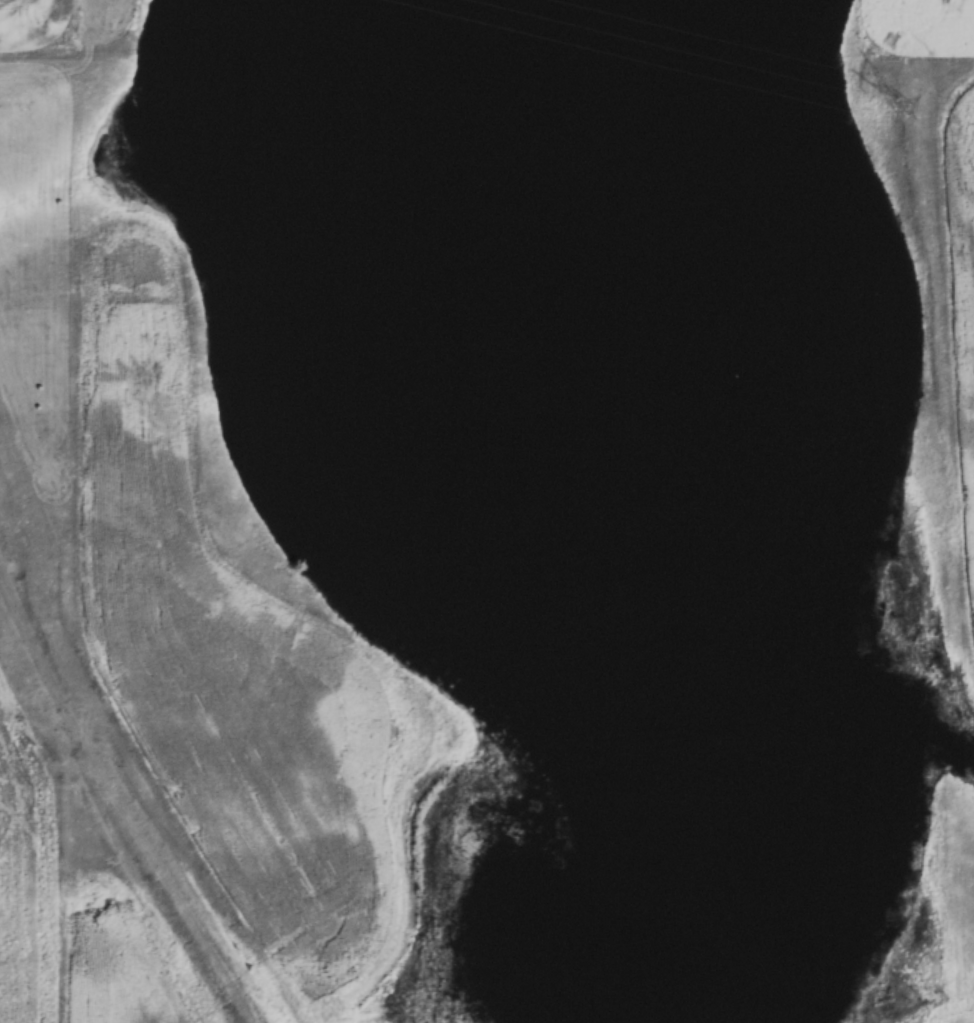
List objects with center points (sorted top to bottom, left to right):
power tower: (921, 90)

